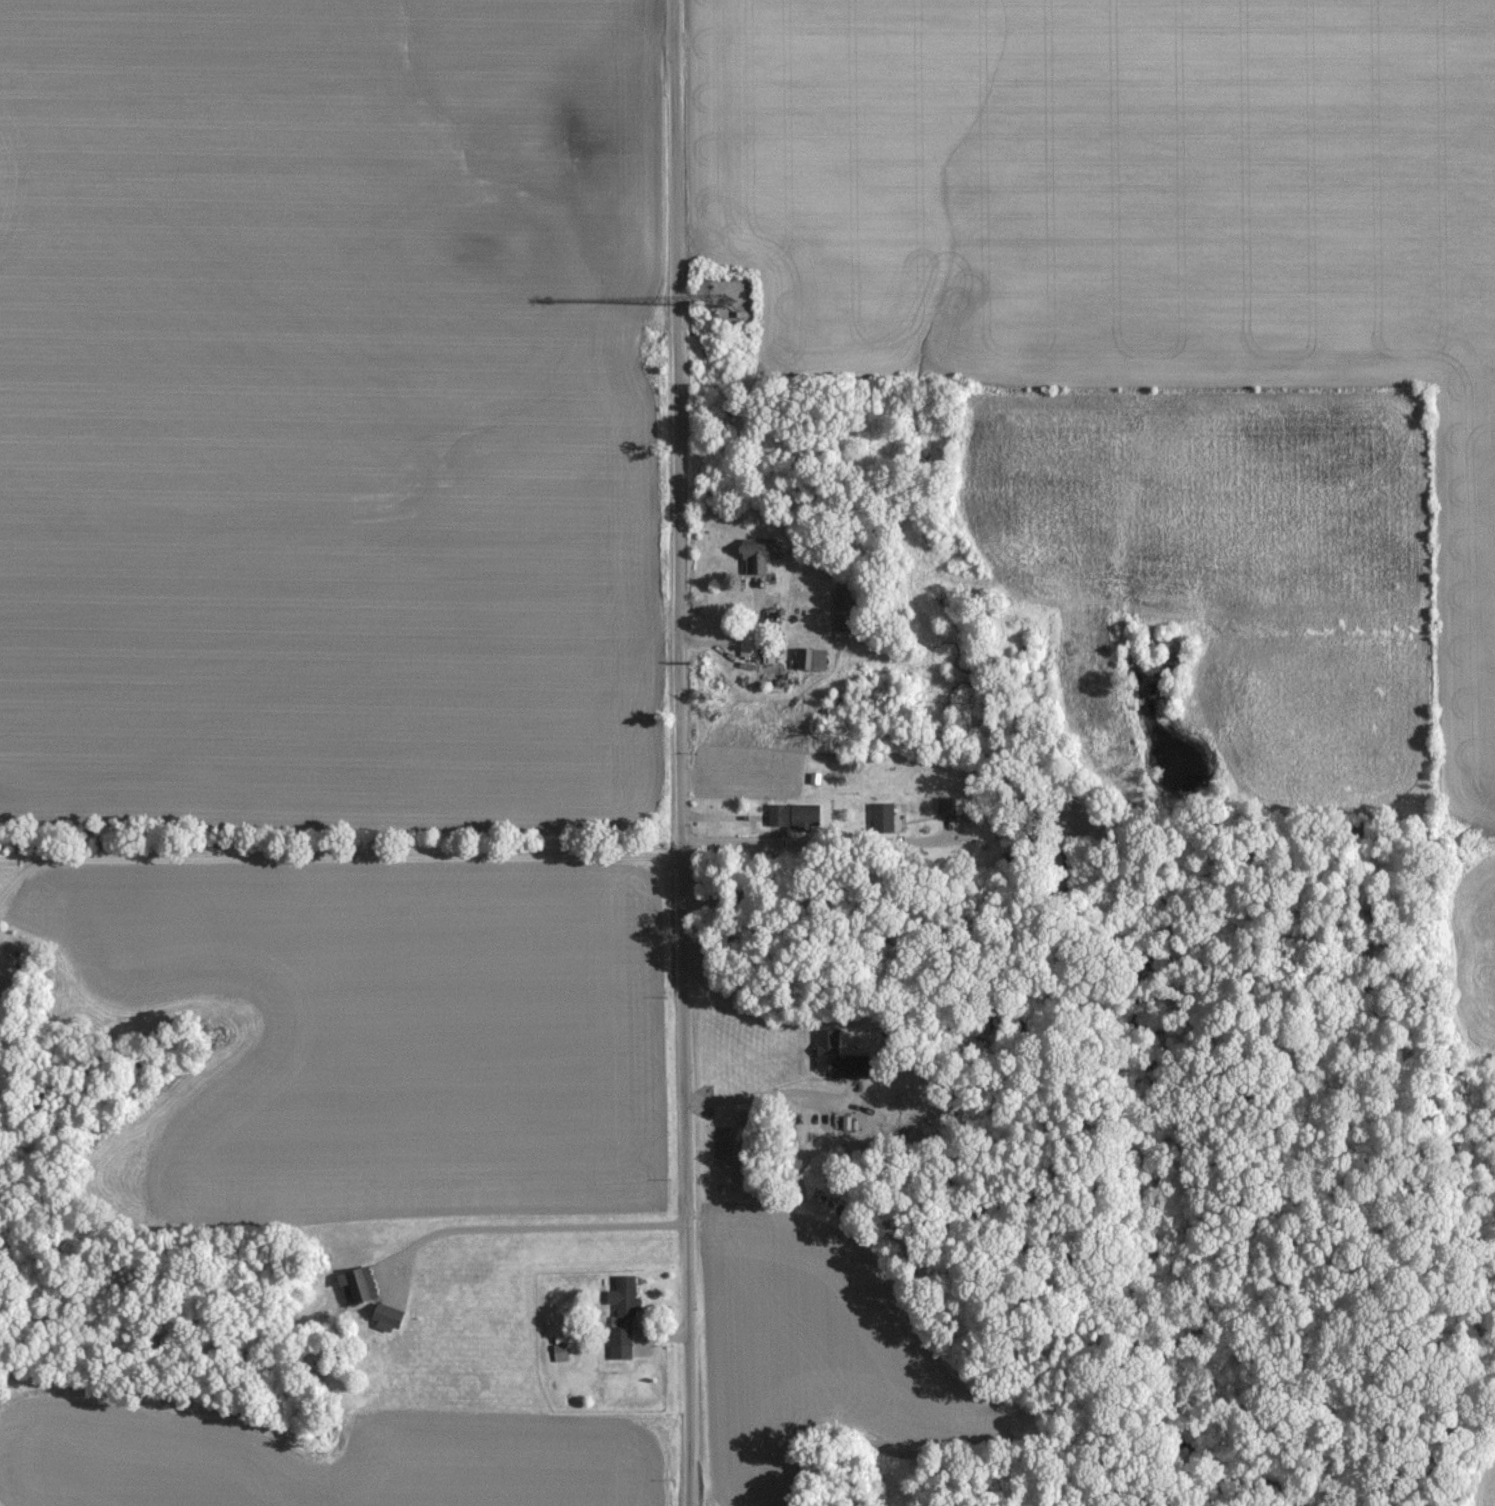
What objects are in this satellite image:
road: (843, 416)
building: (760, 553)
building: (848, 608)
building: (749, 644)
building: (813, 657)
road: (684, 752)
building: (948, 805)
building: (796, 814)
building: (884, 817)
road: (822, 843)
road: (332, 859)
building: (842, 1056)
road: (772, 1094)
road: (521, 1227)
building: (360, 1283)
building: (624, 1314)

